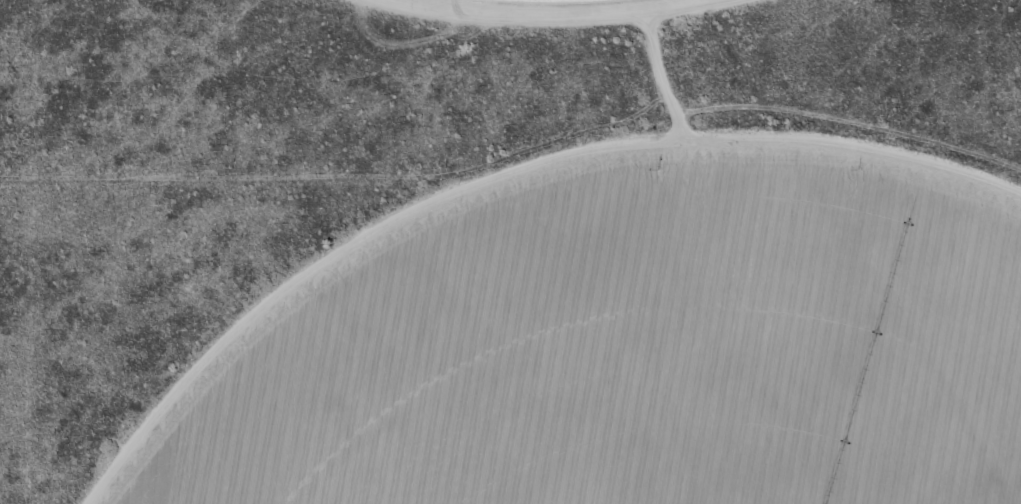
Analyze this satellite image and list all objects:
road: (817, 256)

